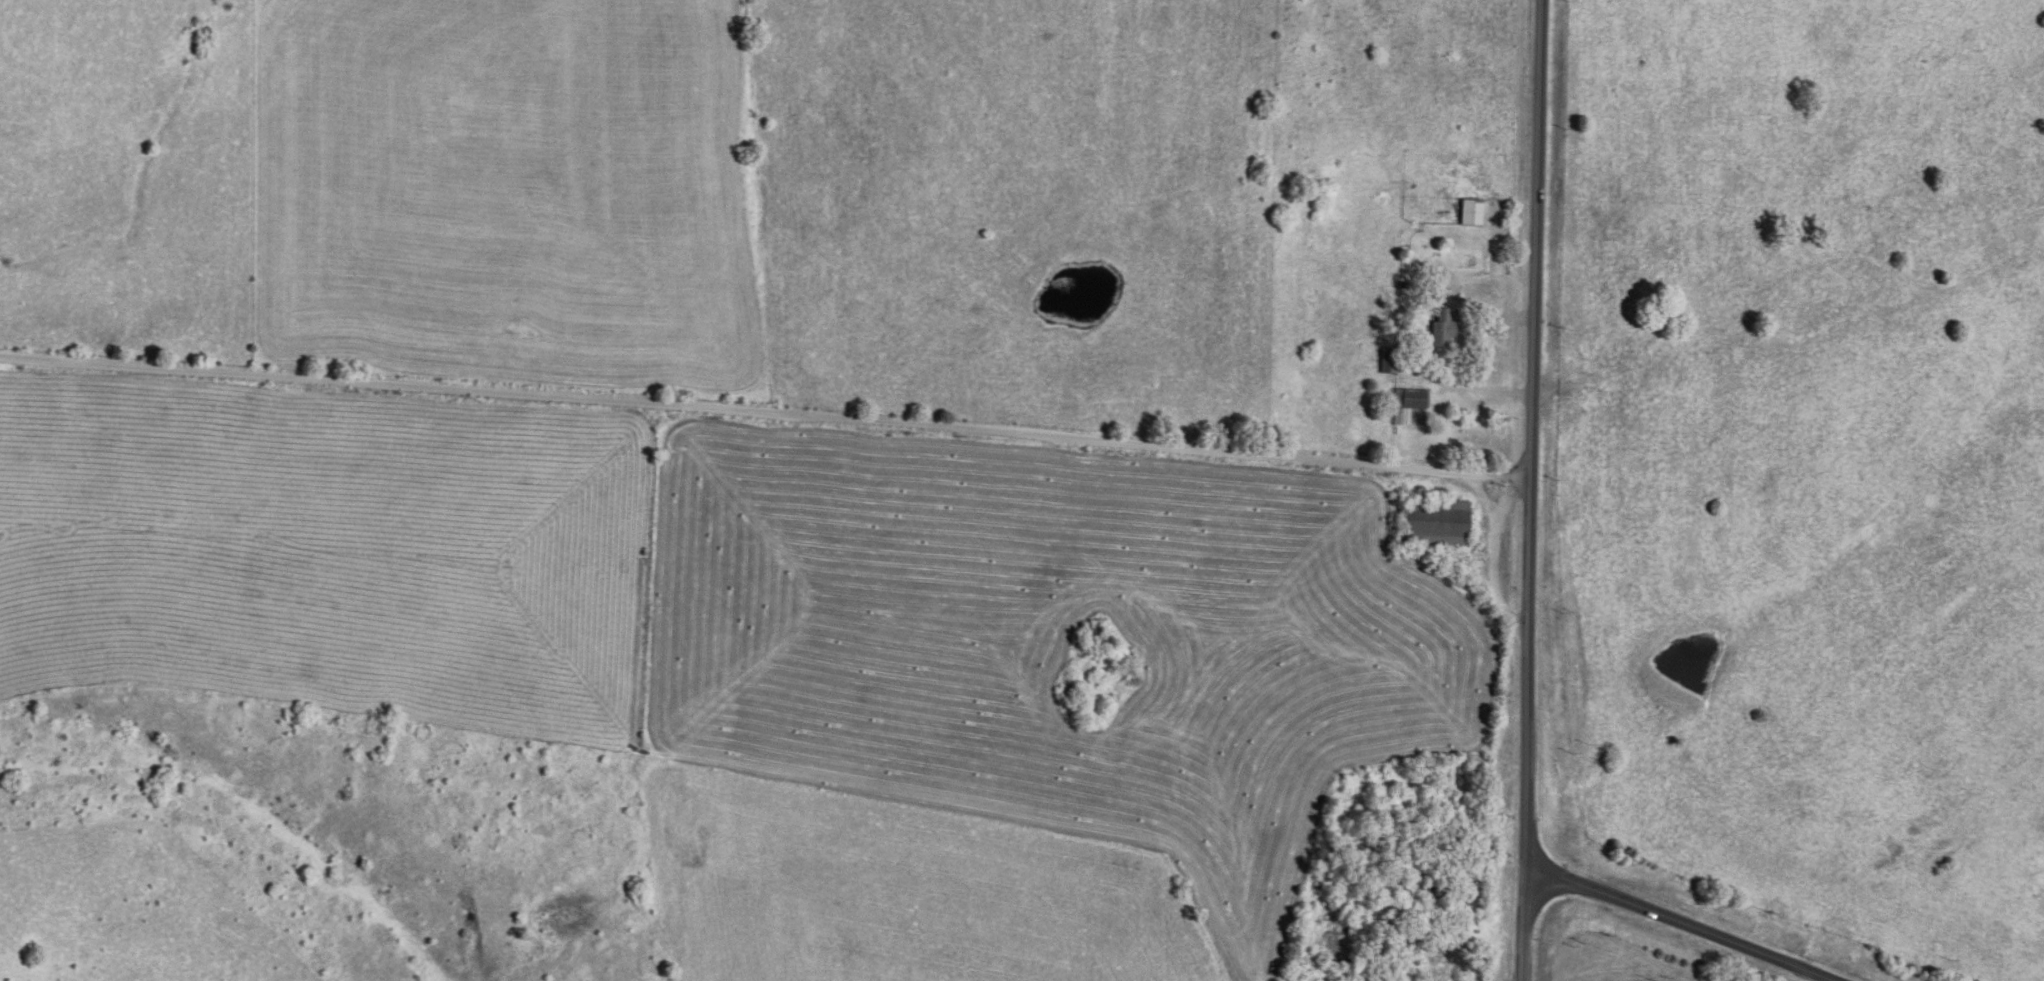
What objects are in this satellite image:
building: (1467, 210)
building: (1440, 326)
building: (1390, 362)
road: (764, 406)
building: (1410, 406)
road: (1528, 490)
building: (1438, 525)
road: (1677, 923)
building: (1442, 970)

